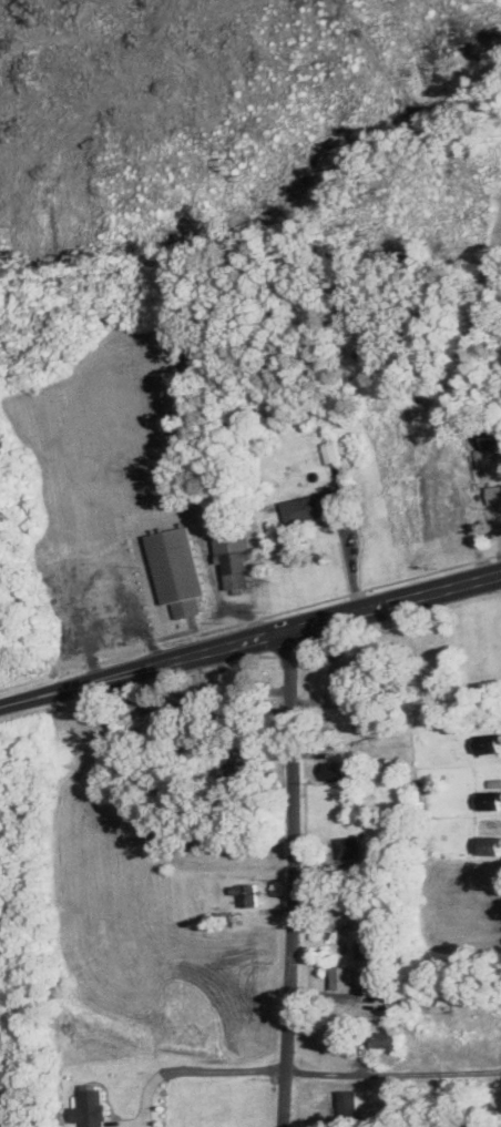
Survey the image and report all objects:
building: (492, 434)
building: (330, 450)
building: (494, 493)
building: (307, 507)
building: (235, 556)
road: (348, 559)
building: (178, 569)
road: (349, 593)
road: (283, 632)
road: (33, 699)
building: (485, 742)
building: (337, 771)
building: (494, 782)
building: (488, 799)
building: (487, 844)
building: (349, 846)
road: (284, 879)
building: (247, 893)
building: (370, 946)
building: (342, 976)
building: (386, 1039)
building: (340, 1043)
road: (177, 1069)
road: (391, 1077)
building: (348, 1103)
building: (91, 1106)

